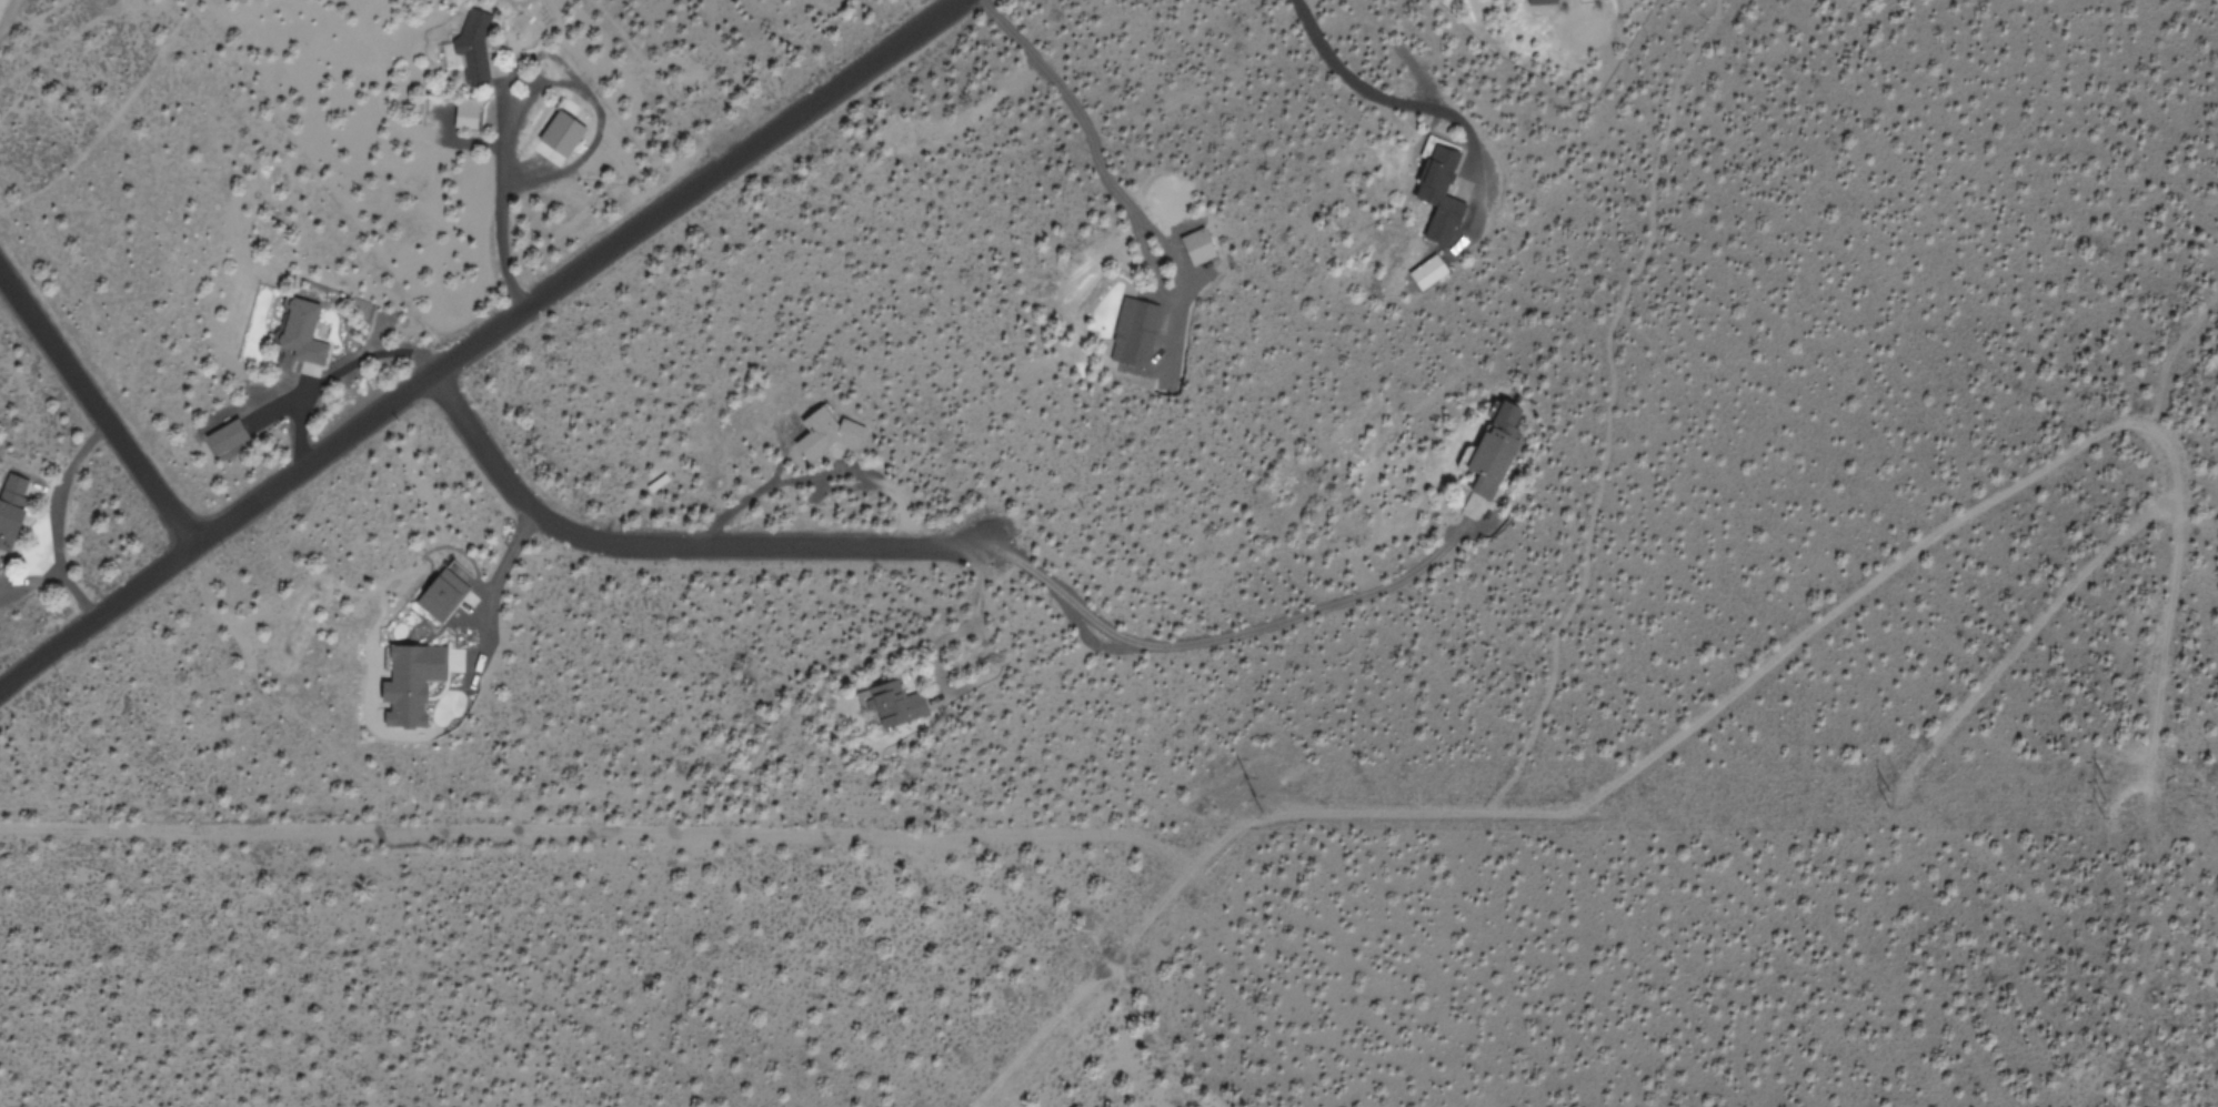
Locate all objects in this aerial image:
building: (1540, 2)
building: (471, 50)
building: (556, 139)
building: (1437, 195)
building: (1195, 248)
road: (572, 271)
building: (1429, 271)
building: (1135, 334)
building: (299, 335)
road: (97, 409)
building: (824, 434)
building: (223, 437)
building: (1488, 462)
building: (655, 483)
building: (10, 505)
road: (666, 541)
building: (439, 594)
road: (97, 613)
building: (412, 682)
building: (890, 703)
power tower: (1255, 797)
power tower: (1890, 798)
power tower: (2109, 801)

